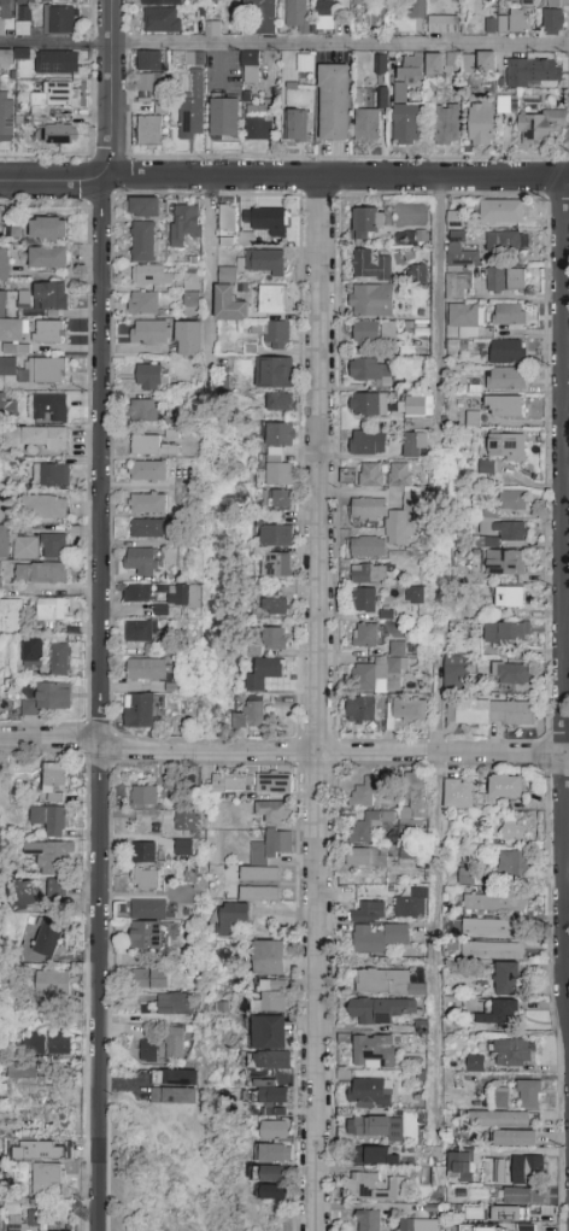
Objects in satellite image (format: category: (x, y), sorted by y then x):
building: (64, 0)
building: (23, 1)
building: (362, 1)
building: (162, 2)
building: (527, 2)
building: (417, 8)
building: (6, 10)
building: (264, 14)
building: (324, 16)
building: (297, 17)
building: (552, 19)
building: (162, 20)
building: (61, 22)
building: (518, 22)
building: (23, 23)
building: (442, 25)
building: (495, 25)
road: (284, 45)
building: (7, 58)
building: (188, 58)
building: (148, 60)
building: (462, 61)
building: (58, 63)
building: (305, 63)
building: (486, 63)
building: (435, 65)
building: (250, 66)
building: (410, 70)
building: (517, 72)
building: (545, 72)
building: (149, 82)
road: (110, 89)
building: (57, 96)
building: (334, 102)
building: (192, 105)
building: (506, 105)
building: (160, 107)
building: (224, 117)
building: (6, 123)
building: (259, 123)
building: (406, 124)
building: (446, 124)
building: (482, 124)
building: (298, 125)
building: (368, 127)
building: (540, 127)
building: (151, 130)
building: (58, 135)
road: (283, 176)
building: (145, 207)
building: (501, 212)
building: (228, 219)
building: (265, 219)
building: (456, 219)
building: (1, 221)
building: (369, 222)
building: (184, 223)
building: (51, 229)
building: (237, 240)
building: (142, 241)
building: (505, 242)
building: (48, 258)
building: (263, 262)
building: (365, 264)
building: (4, 265)
building: (458, 265)
building: (418, 274)
building: (151, 275)
building: (228, 275)
road: (209, 279)
building: (517, 280)
building: (495, 281)
building: (190, 294)
building: (51, 297)
road: (512, 297)
building: (272, 300)
building: (371, 301)
building: (142, 304)
building: (229, 304)
road: (438, 310)
building: (509, 315)
building: (465, 318)
building: (11, 330)
building: (49, 333)
building: (149, 333)
building: (371, 333)
building: (272, 334)
building: (188, 339)
building: (508, 352)
building: (35, 370)
building: (369, 370)
building: (274, 373)
building: (148, 379)
building: (506, 380)
building: (281, 404)
building: (368, 405)
building: (416, 406)
building: (504, 406)
building: (7, 408)
building: (49, 408)
building: (143, 411)
building: (39, 439)
building: (369, 444)
building: (416, 445)
building: (151, 446)
building: (508, 446)
building: (278, 455)
building: (148, 471)
building: (51, 475)
building: (373, 475)
building: (400, 475)
building: (282, 499)
building: (415, 499)
building: (512, 500)
building: (148, 504)
building: (370, 509)
building: (4, 510)
building: (45, 510)
building: (148, 528)
building: (398, 528)
building: (500, 532)
building: (276, 537)
building: (5, 543)
building: (53, 546)
building: (369, 547)
building: (25, 549)
building: (143, 562)
building: (506, 563)
building: (277, 567)
building: (41, 574)
building: (369, 574)
building: (0, 580)
building: (137, 593)
building: (183, 594)
building: (416, 597)
building: (509, 598)
road: (562, 598)
building: (365, 600)
building: (275, 603)
building: (53, 610)
building: (160, 610)
building: (12, 616)
building: (140, 632)
building: (508, 633)
building: (366, 637)
building: (275, 639)
building: (398, 650)
building: (34, 652)
building: (60, 660)
building: (147, 669)
building: (264, 674)
building: (454, 674)
building: (511, 674)
building: (381, 676)
building: (49, 699)
road: (316, 703)
road: (101, 704)
road: (438, 708)
building: (362, 709)
building: (139, 711)
building: (410, 711)
building: (488, 713)
building: (251, 717)
road: (51, 739)
road: (334, 751)
building: (55, 782)
building: (253, 784)
building: (506, 789)
building: (366, 792)
building: (459, 795)
building: (143, 796)
building: (416, 797)
building: (272, 813)
building: (52, 821)
building: (186, 822)
building: (369, 826)
building: (512, 831)
building: (183, 849)
building: (145, 852)
building: (405, 852)
building: (51, 856)
building: (266, 857)
building: (370, 857)
building: (510, 863)
building: (467, 877)
building: (146, 880)
building: (58, 891)
building: (259, 895)
building: (23, 896)
building: (410, 904)
building: (494, 904)
building: (148, 909)
building: (368, 911)
building: (229, 919)
building: (491, 927)
building: (147, 936)
building: (48, 938)
building: (377, 938)
road: (438, 948)
building: (498, 950)
building: (269, 959)
building: (506, 979)
building: (149, 980)
building: (386, 981)
building: (52, 985)
building: (172, 987)
building: (272, 996)
building: (172, 1004)
building: (376, 1012)
building: (505, 1013)
building: (270, 1033)
building: (174, 1044)
building: (49, 1045)
building: (147, 1051)
building: (374, 1053)
building: (514, 1053)
building: (475, 1065)
building: (25, 1066)
building: (271, 1083)
building: (174, 1088)
building: (369, 1091)
building: (529, 1095)
building: (501, 1100)
building: (498, 1119)
building: (377, 1129)
building: (275, 1131)
building: (515, 1138)
building: (379, 1156)
building: (274, 1163)
building: (532, 1167)
building: (461, 1168)
building: (498, 1171)
building: (436, 1176)
building: (46, 1177)
building: (364, 1183)
park: (186, 1185)
building: (1, 1189)
building: (275, 1194)
building: (524, 1196)
building: (509, 1215)
building: (368, 1221)
building: (418, 1225)
building: (19, 1226)
building: (527, 1227)
building: (486, 1229)
building: (57, 1230)

